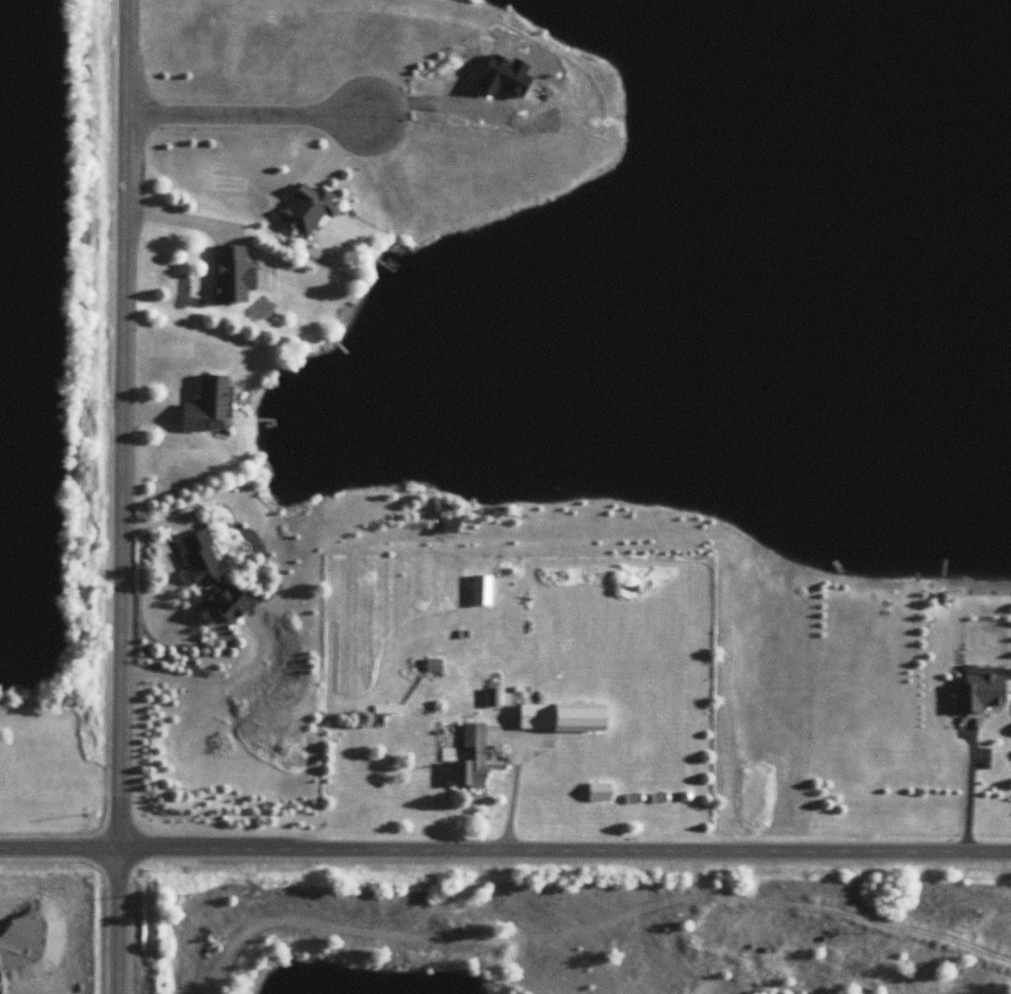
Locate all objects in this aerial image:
road: (248, 116)
building: (308, 209)
building: (235, 274)
building: (209, 406)
road: (121, 496)
building: (202, 557)
building: (482, 590)
road: (215, 679)
building: (495, 697)
building: (565, 717)
building: (471, 756)
road: (512, 786)
road: (957, 789)
building: (601, 791)
road: (505, 852)

